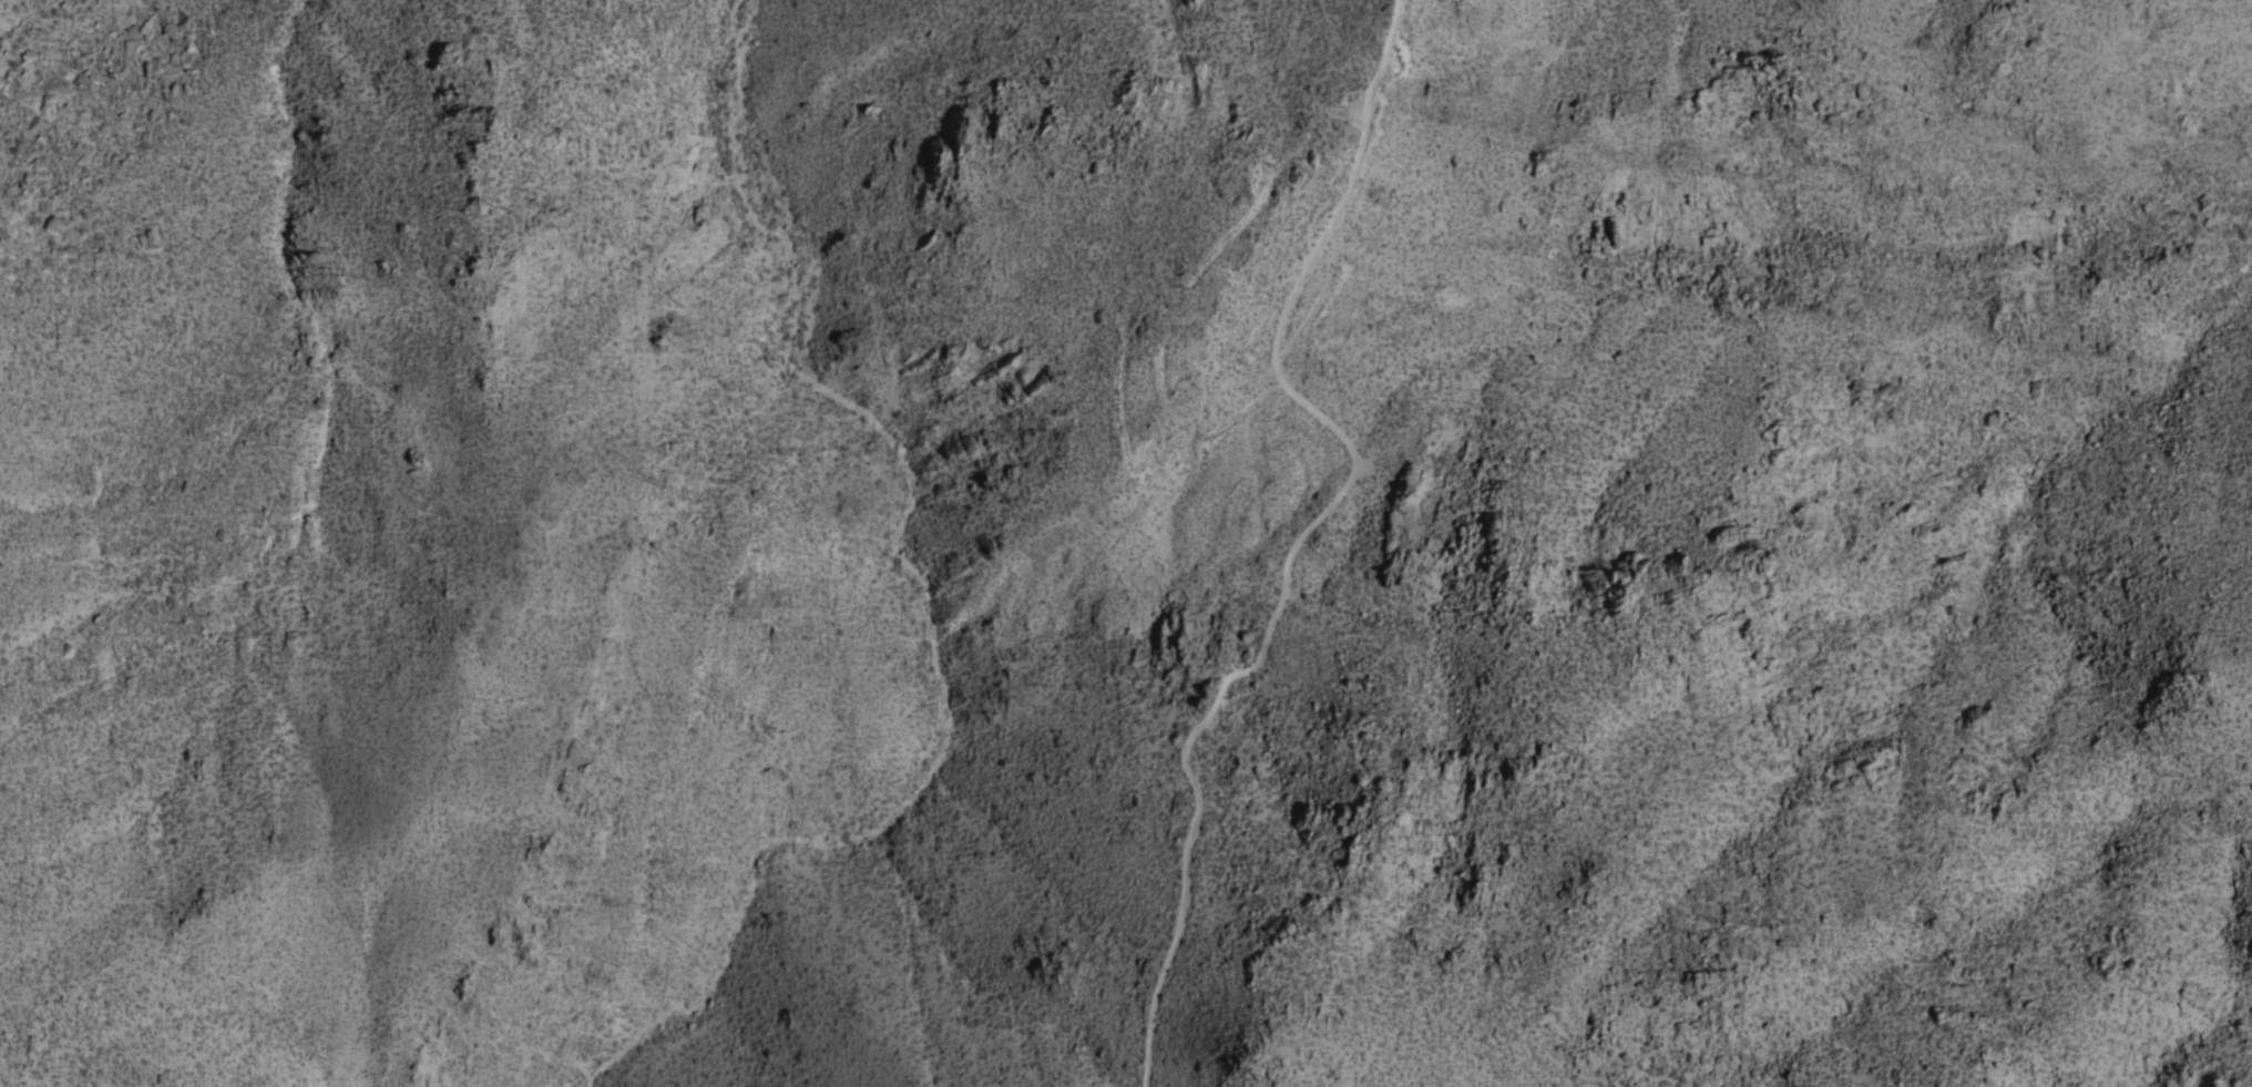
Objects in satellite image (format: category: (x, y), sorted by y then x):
road: (1303, 531)

